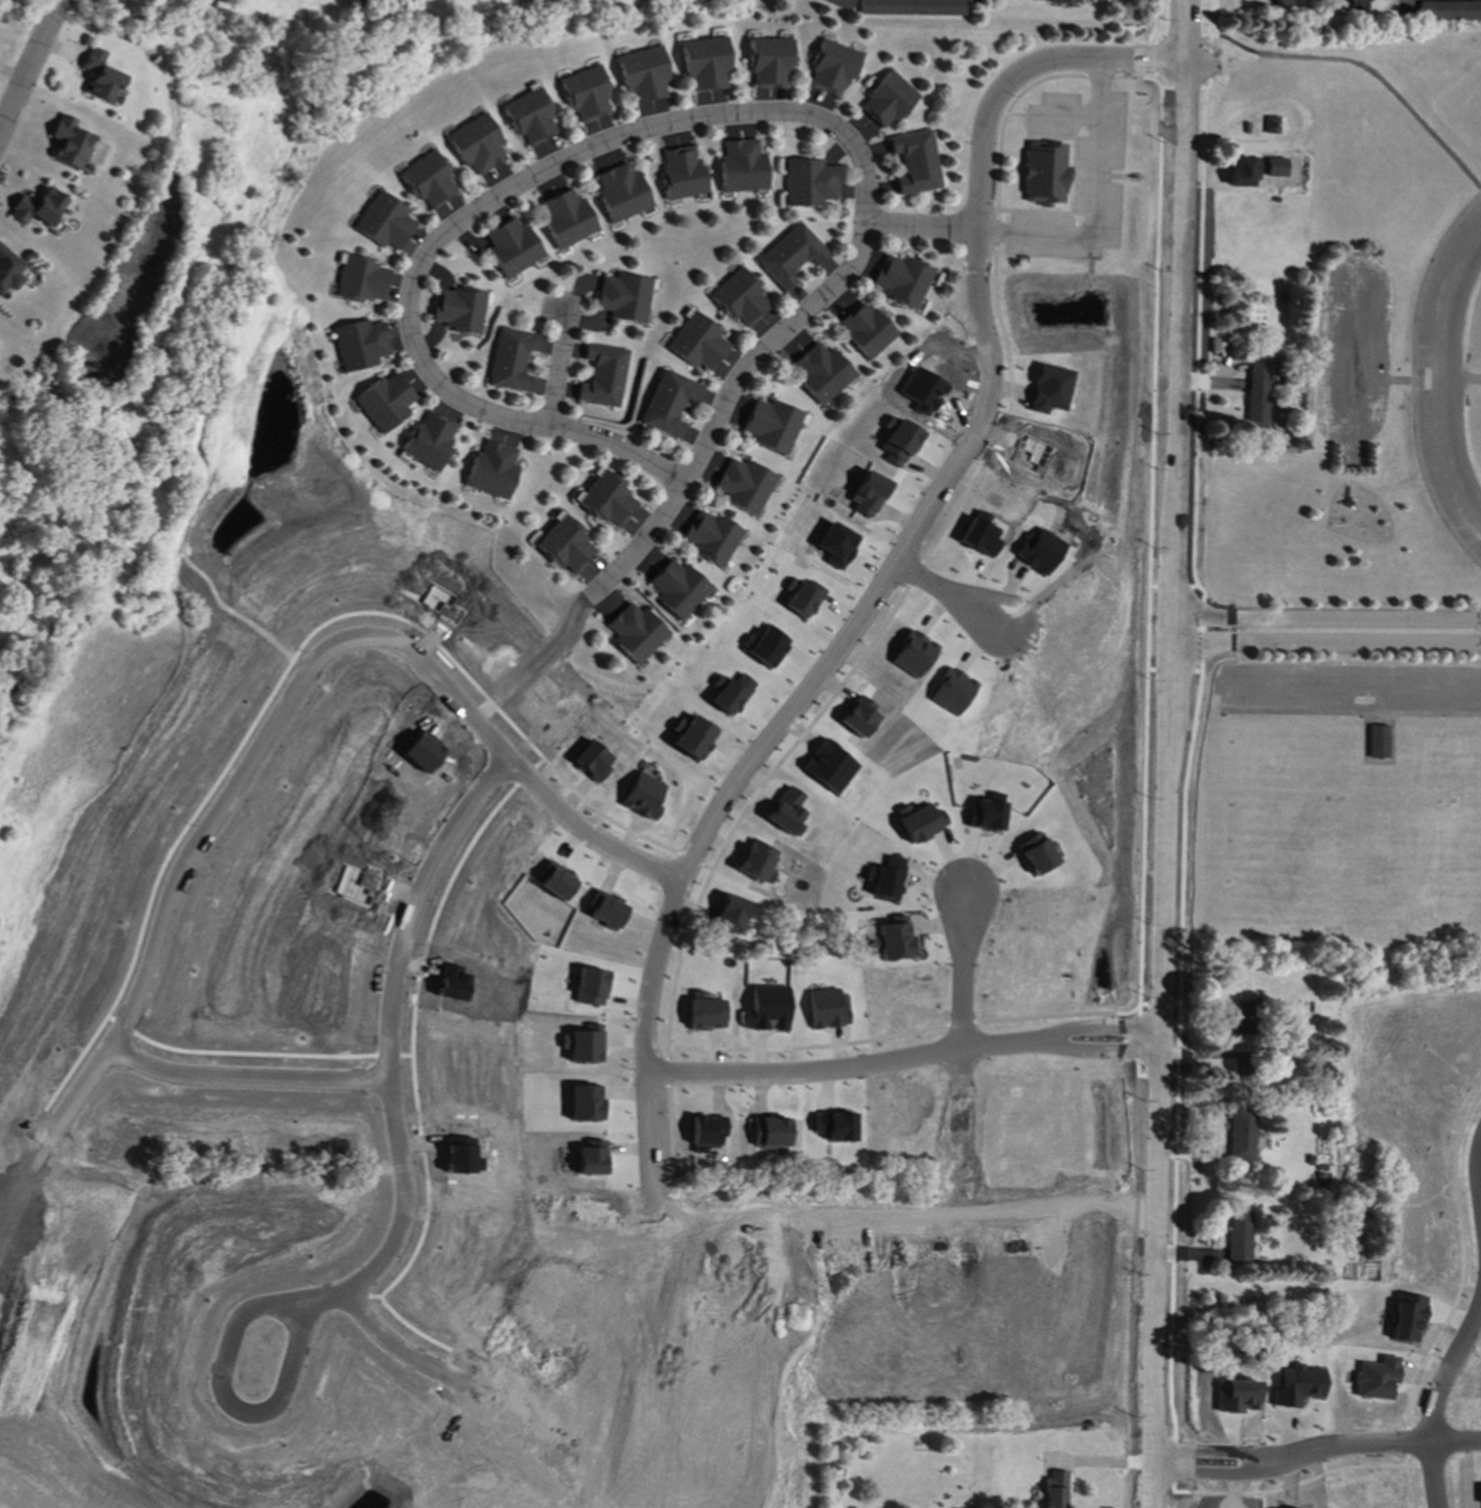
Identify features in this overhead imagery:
building: (10, 0)
building: (1088, 0)
building: (128, 1)
building: (1064, 1)
building: (1358, 2)
building: (1284, 3)
building: (841, 4)
building: (886, 7)
building: (940, 8)
building: (1450, 11)
road: (1216, 20)
building: (769, 62)
building: (705, 63)
building: (832, 67)
road: (1364, 67)
road: (30, 68)
building: (642, 74)
building: (99, 76)
road: (1005, 89)
building: (585, 94)
building: (887, 100)
building: (529, 117)
building: (1273, 125)
building: (70, 143)
building: (476, 144)
building: (914, 162)
building: (743, 167)
building: (1274, 167)
building: (1241, 172)
road: (545, 173)
building: (1044, 173)
building: (683, 174)
building: (427, 180)
building: (810, 183)
building: (622, 193)
road: (1093, 205)
building: (37, 208)
building: (567, 219)
building: (383, 222)
road: (922, 230)
building: (512, 248)
building: (790, 256)
park: (135, 268)
building: (9, 271)
building: (361, 280)
building: (902, 280)
building: (625, 297)
building: (741, 299)
building: (459, 309)
park: (192, 316)
building: (866, 330)
building: (697, 343)
building: (359, 345)
building: (511, 360)
road: (560, 373)
building: (820, 373)
building: (604, 375)
road: (1443, 378)
road: (1462, 380)
building: (1258, 388)
building: (1048, 389)
building: (384, 402)
building: (668, 403)
road: (724, 410)
building: (774, 425)
building: (429, 441)
road: (620, 450)
building: (492, 470)
building: (746, 486)
building: (606, 499)
park: (1335, 504)
building: (713, 537)
building: (836, 545)
building: (566, 546)
road: (920, 565)
building: (677, 589)
road: (951, 596)
building: (803, 598)
road: (1328, 619)
building: (635, 633)
road: (1327, 643)
building: (767, 647)
building: (914, 654)
road: (537, 661)
building: (953, 692)
building: (730, 694)
building: (860, 718)
building: (692, 737)
building: (1377, 742)
road: (512, 750)
road: (1171, 754)
building: (829, 766)
building: (644, 797)
building: (787, 813)
building: (986, 813)
building: (920, 822)
road: (623, 828)
park: (1324, 829)
building: (1035, 854)
road: (689, 862)
building: (758, 863)
building: (886, 879)
building: (555, 882)
road: (164, 912)
building: (730, 916)
building: (893, 940)
road: (959, 977)
building: (590, 987)
building: (768, 1009)
building: (828, 1009)
building: (706, 1012)
road: (392, 1013)
building: (1243, 1016)
road: (917, 1033)
building: (583, 1044)
road: (905, 1059)
road: (249, 1071)
building: (585, 1103)
building: (835, 1126)
building: (1242, 1135)
road: (961, 1168)
road: (1475, 1198)
building: (1239, 1238)
road: (330, 1301)
road: (1454, 1303)
building: (1406, 1318)
road: (457, 1374)
building: (1297, 1386)
road: (1436, 1392)
road: (248, 1414)
road: (597, 1447)
road: (1361, 1448)
road: (1210, 1460)
road: (1101, 1462)
road: (1167, 1465)
road: (1210, 1478)
road: (694, 1482)
road: (1300, 1484)
building: (1055, 1490)

